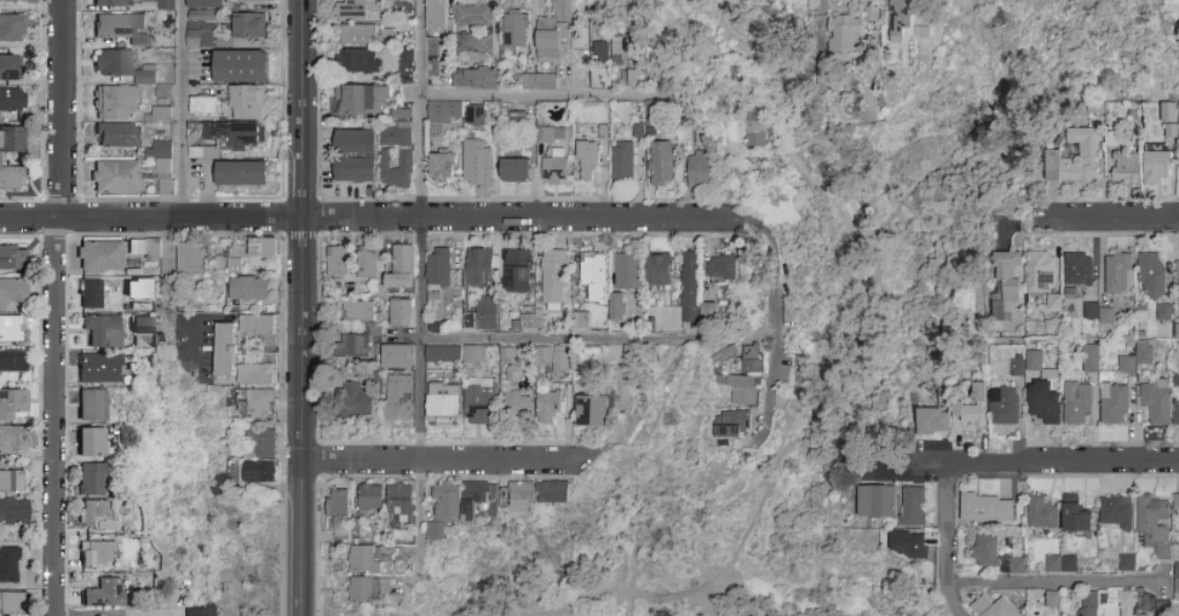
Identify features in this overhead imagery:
building: (12, 1)
building: (115, 2)
building: (218, 4)
building: (166, 5)
building: (358, 8)
building: (201, 15)
building: (436, 15)
building: (475, 16)
building: (901, 19)
building: (874, 21)
building: (249, 27)
building: (12, 28)
building: (123, 28)
building: (516, 29)
building: (201, 31)
building: (358, 35)
building: (847, 35)
building: (553, 36)
building: (475, 45)
building: (621, 47)
building: (360, 62)
building: (114, 63)
building: (241, 67)
building: (11, 68)
building: (406, 73)
building: (638, 76)
building: (145, 77)
building: (476, 77)
building: (539, 81)
road: (534, 97)
road: (1109, 98)
building: (12, 99)
building: (361, 99)
building: (248, 102)
building: (115, 103)
building: (205, 105)
road: (61, 108)
road: (179, 108)
building: (444, 111)
building: (650, 111)
building: (398, 113)
building: (162, 115)
building: (475, 115)
building: (754, 126)
building: (396, 134)
building: (119, 136)
building: (228, 138)
building: (12, 139)
building: (355, 142)
building: (587, 154)
building: (553, 155)
building: (162, 157)
building: (1074, 160)
building: (623, 161)
building: (477, 162)
building: (661, 163)
building: (1125, 167)
building: (1157, 167)
building: (442, 168)
building: (700, 169)
building: (355, 171)
building: (397, 171)
building: (516, 171)
building: (241, 173)
building: (115, 177)
building: (12, 179)
building: (166, 188)
road: (370, 217)
road: (1110, 218)
building: (145, 248)
building: (263, 248)
building: (99, 255)
building: (13, 258)
building: (190, 259)
building: (403, 261)
building: (341, 263)
building: (368, 264)
road: (167, 266)
building: (438, 266)
building: (479, 267)
building: (721, 267)
building: (1077, 270)
building: (1178, 270)
building: (627, 271)
building: (658, 271)
building: (1041, 272)
building: (1008, 274)
building: (1118, 274)
building: (519, 275)
building: (1151, 275)
building: (594, 276)
building: (554, 277)
building: (396, 280)
road: (418, 286)
building: (690, 288)
building: (139, 289)
building: (249, 289)
building: (12, 290)
building: (91, 294)
building: (1052, 301)
road: (298, 307)
building: (358, 311)
road: (775, 311)
building: (709, 312)
building: (401, 313)
building: (487, 313)
building: (1099, 313)
building: (1164, 313)
building: (531, 318)
building: (467, 319)
building: (144, 323)
building: (581, 323)
building: (1051, 324)
building: (258, 326)
building: (11, 329)
building: (100, 330)
building: (1177, 332)
building: (162, 339)
road: (556, 339)
building: (352, 346)
building: (226, 350)
road: (856, 350)
building: (723, 352)
building: (1143, 353)
building: (455, 355)
building: (511, 356)
building: (398, 357)
building: (556, 359)
building: (750, 359)
building: (1033, 359)
building: (1091, 359)
building: (12, 362)
building: (1126, 365)
building: (1018, 367)
building: (98, 369)
building: (261, 375)
building: (1174, 375)
building: (738, 390)
building: (398, 397)
building: (356, 401)
building: (1155, 401)
building: (443, 402)
building: (517, 402)
building: (12, 403)
building: (263, 403)
building: (1043, 403)
building: (1077, 403)
building: (479, 404)
building: (1114, 404)
building: (92, 405)
building: (1005, 405)
building: (548, 408)
building: (974, 408)
building: (593, 411)
road: (54, 415)
building: (1177, 416)
road: (800, 421)
building: (933, 421)
building: (734, 425)
building: (13, 438)
building: (92, 442)
building: (265, 444)
road: (448, 459)
road: (1045, 464)
building: (263, 473)
building: (91, 479)
building: (12, 480)
building: (370, 496)
building: (504, 497)
building: (556, 497)
building: (473, 499)
building: (399, 501)
building: (875, 502)
building: (1177, 502)
building: (338, 503)
building: (913, 507)
building: (443, 508)
building: (987, 508)
building: (13, 512)
building: (1041, 513)
building: (1116, 513)
building: (94, 514)
building: (1076, 516)
building: (353, 523)
building: (1154, 524)
road: (950, 542)
building: (909, 545)
building: (985, 551)
building: (97, 555)
building: (366, 559)
building: (1126, 562)
building: (1016, 564)
building: (1062, 564)
building: (8, 565)
road: (1057, 582)
building: (1177, 582)
building: (361, 589)
building: (103, 593)
building: (1052, 598)
building: (1149, 601)
building: (11, 603)
building: (1125, 603)
building: (1088, 604)
building: (991, 608)
building: (1163, 608)
road: (114, 610)
building: (195, 612)

